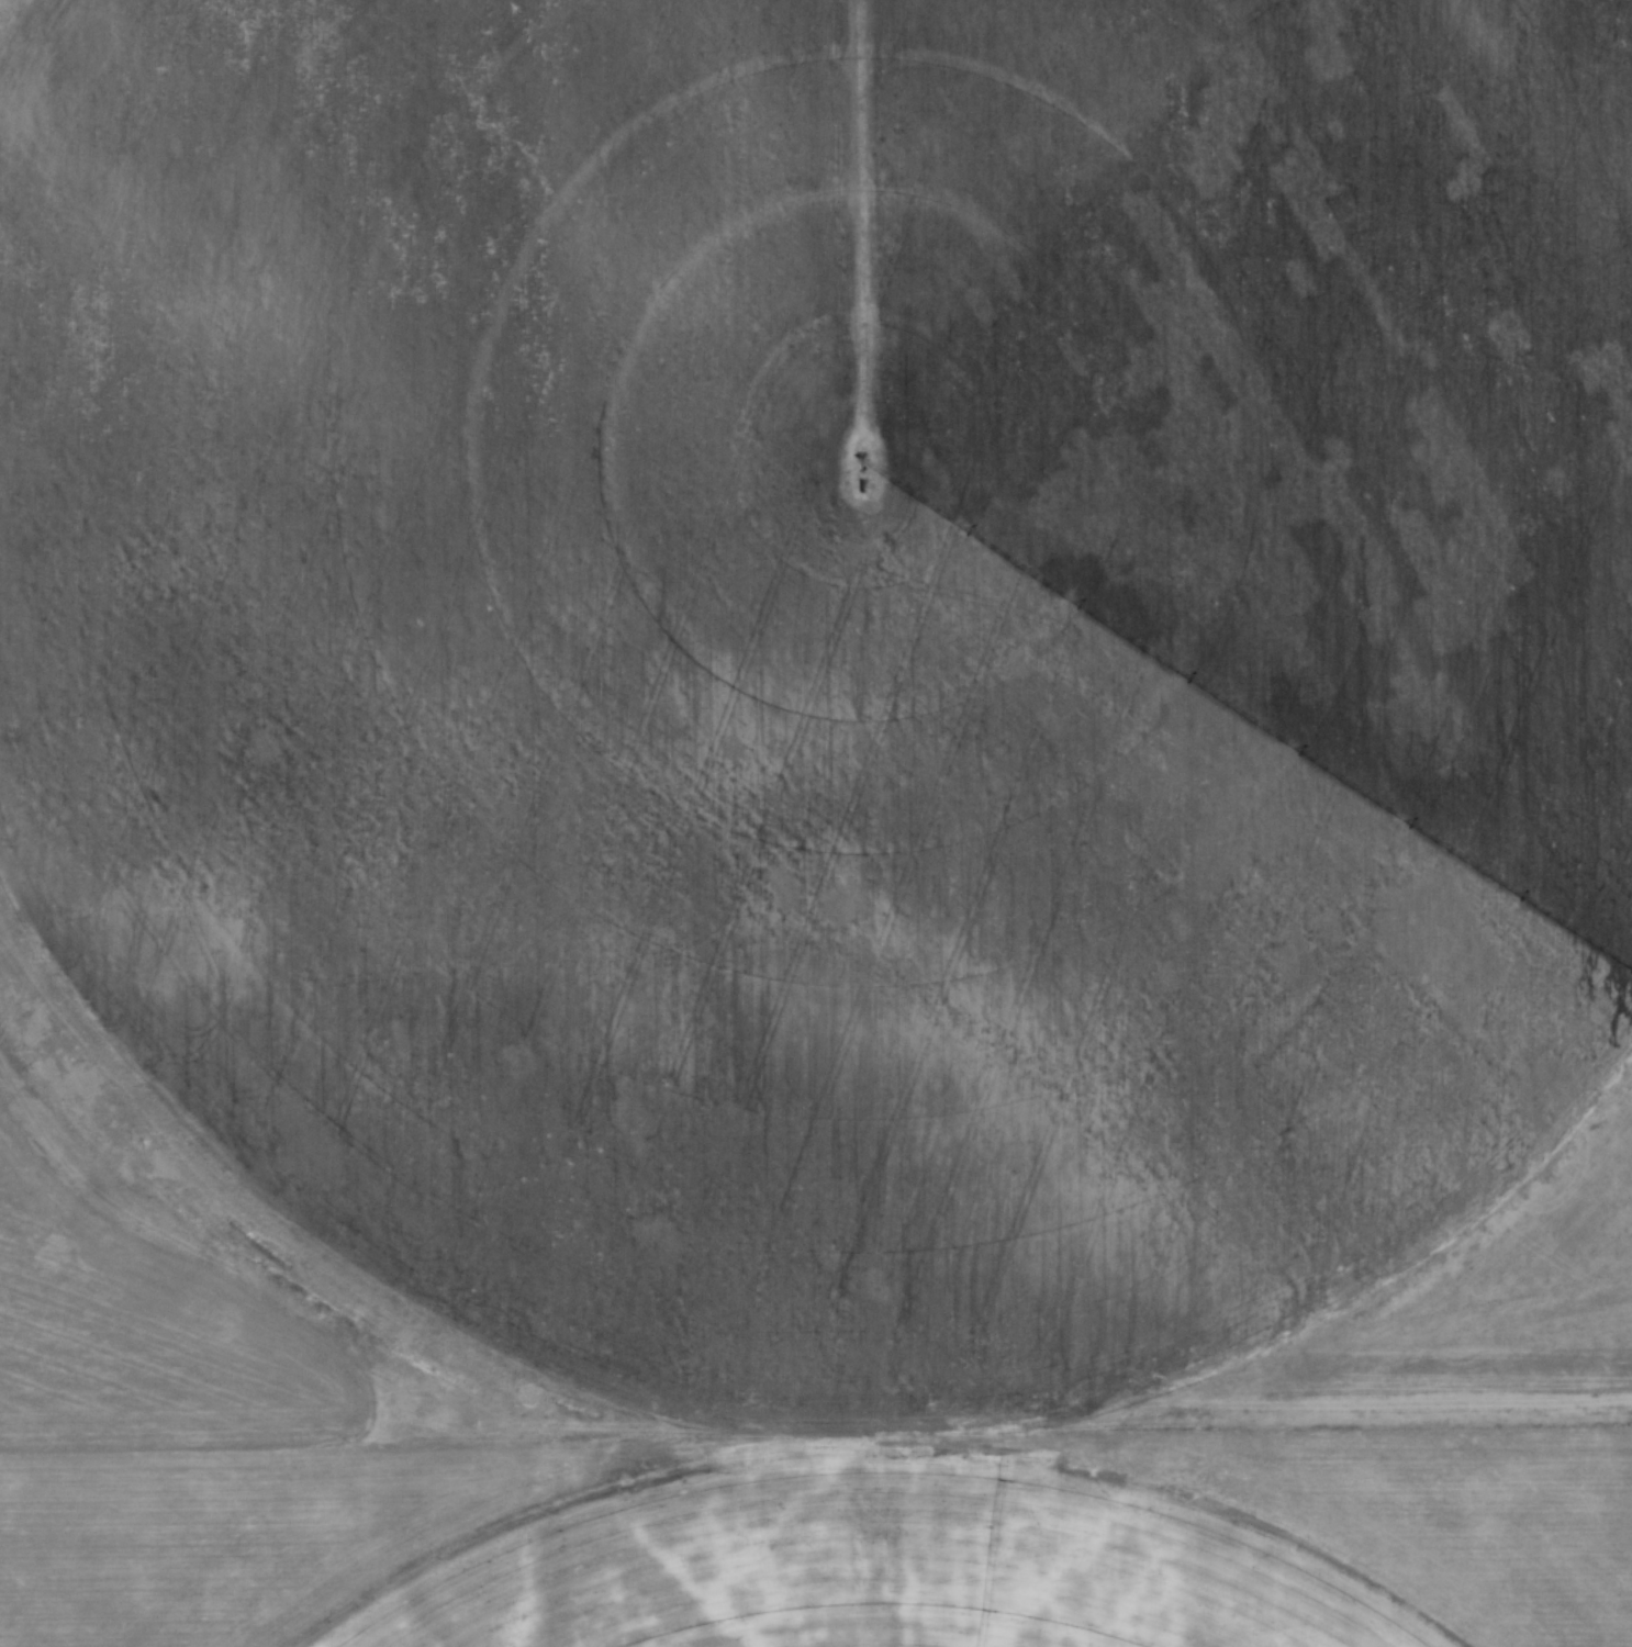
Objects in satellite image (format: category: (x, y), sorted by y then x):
crop: (824, 815)

